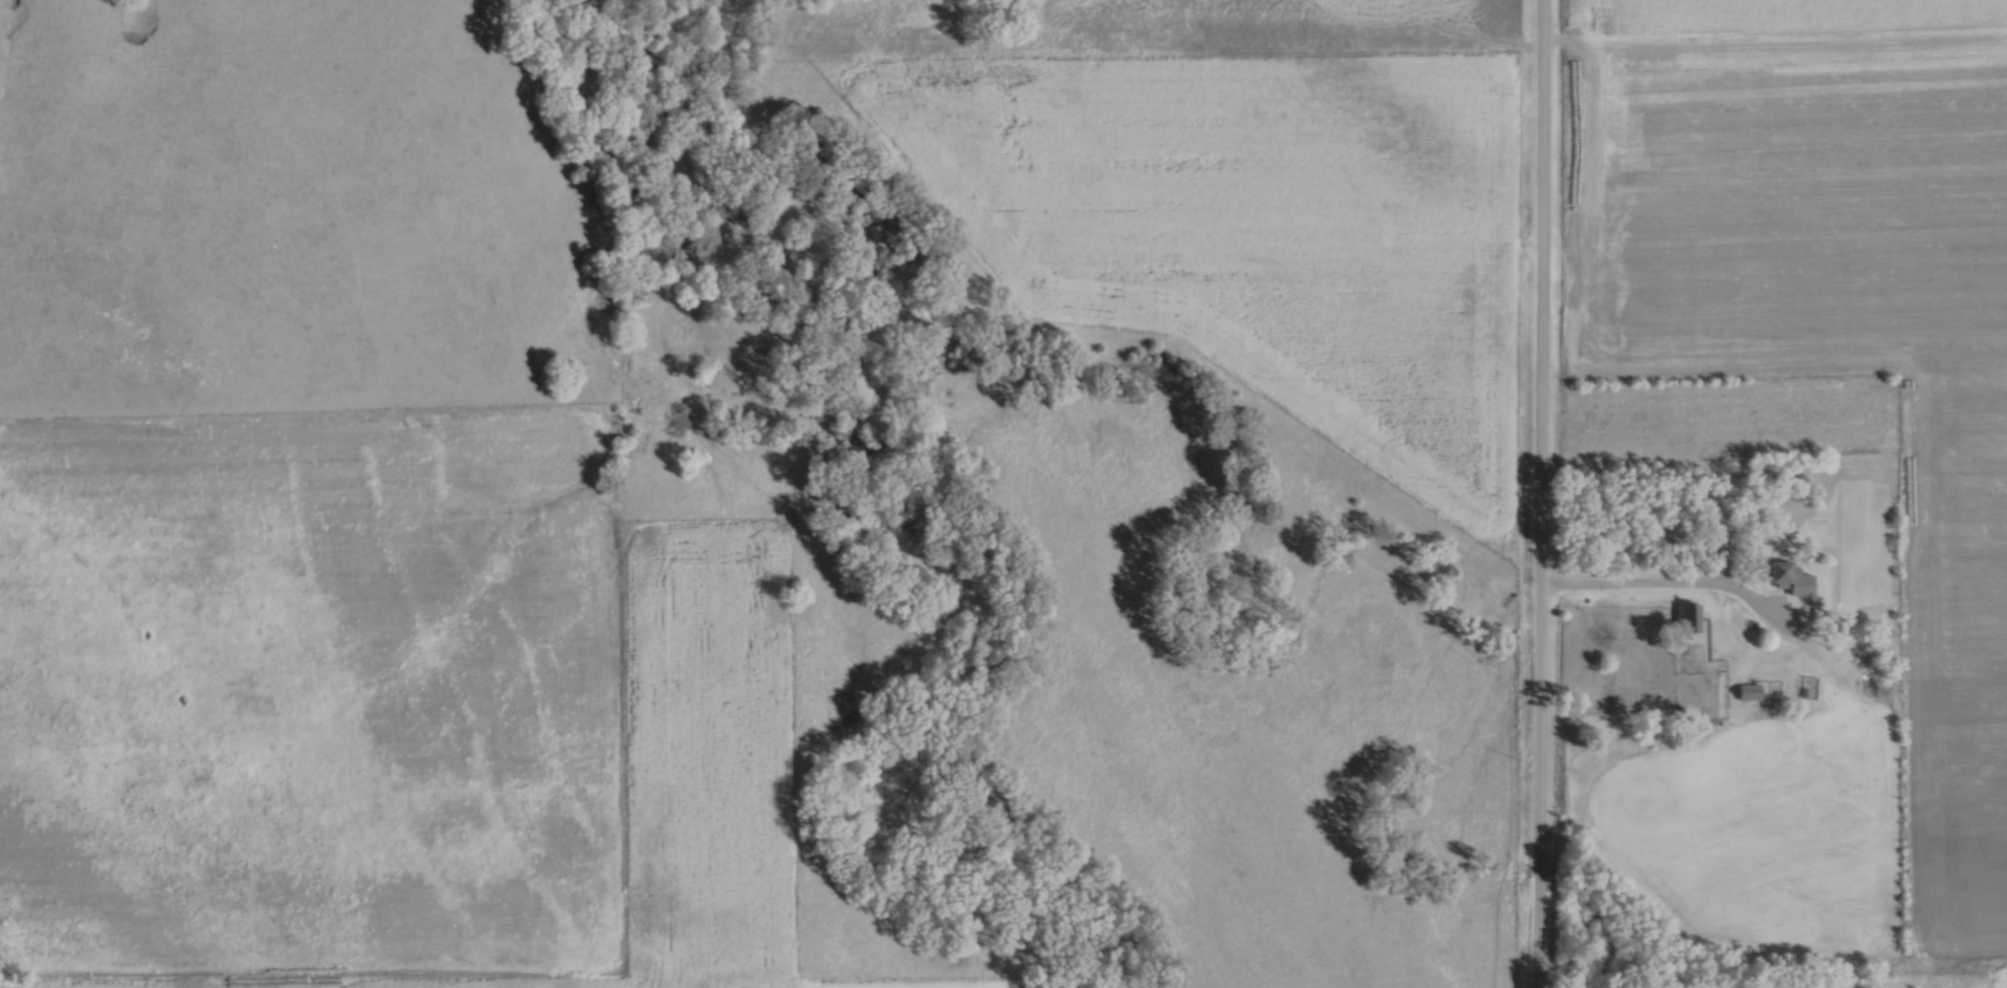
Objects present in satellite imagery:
road: (1545, 494)
building: (1710, 525)
building: (1779, 572)
road: (1671, 586)
building: (1686, 622)
building: (1750, 691)

